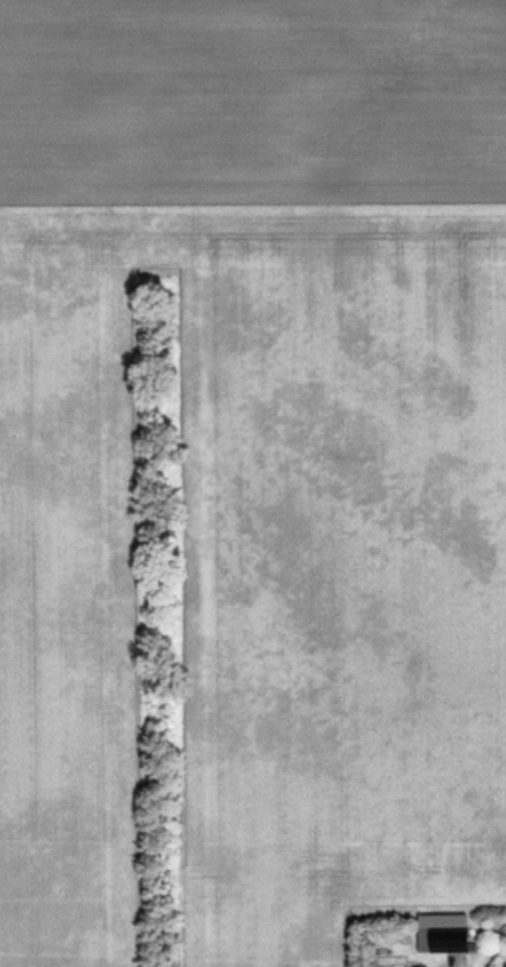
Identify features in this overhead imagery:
building: (442, 931)
building: (421, 966)

